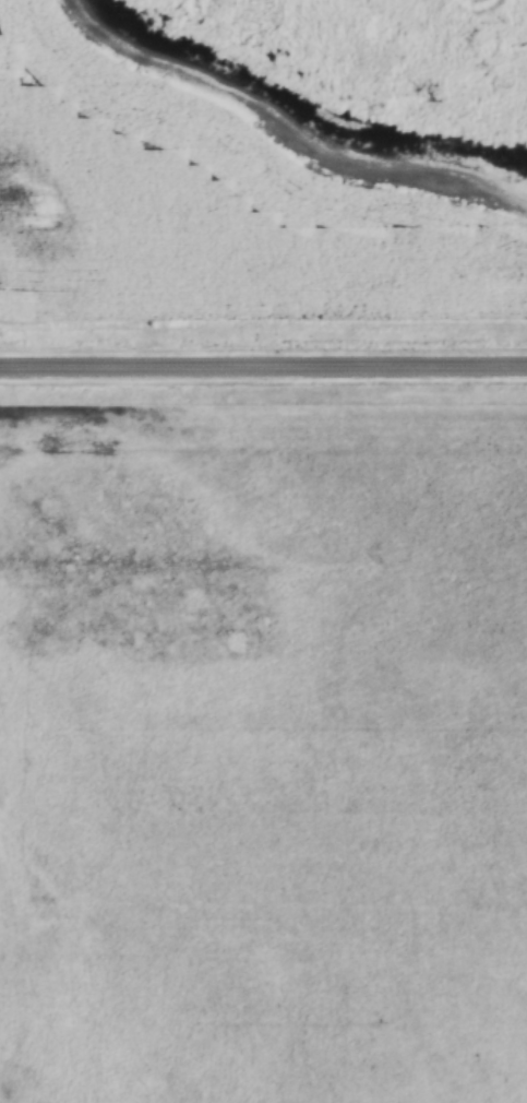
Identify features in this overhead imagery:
road: (263, 369)

